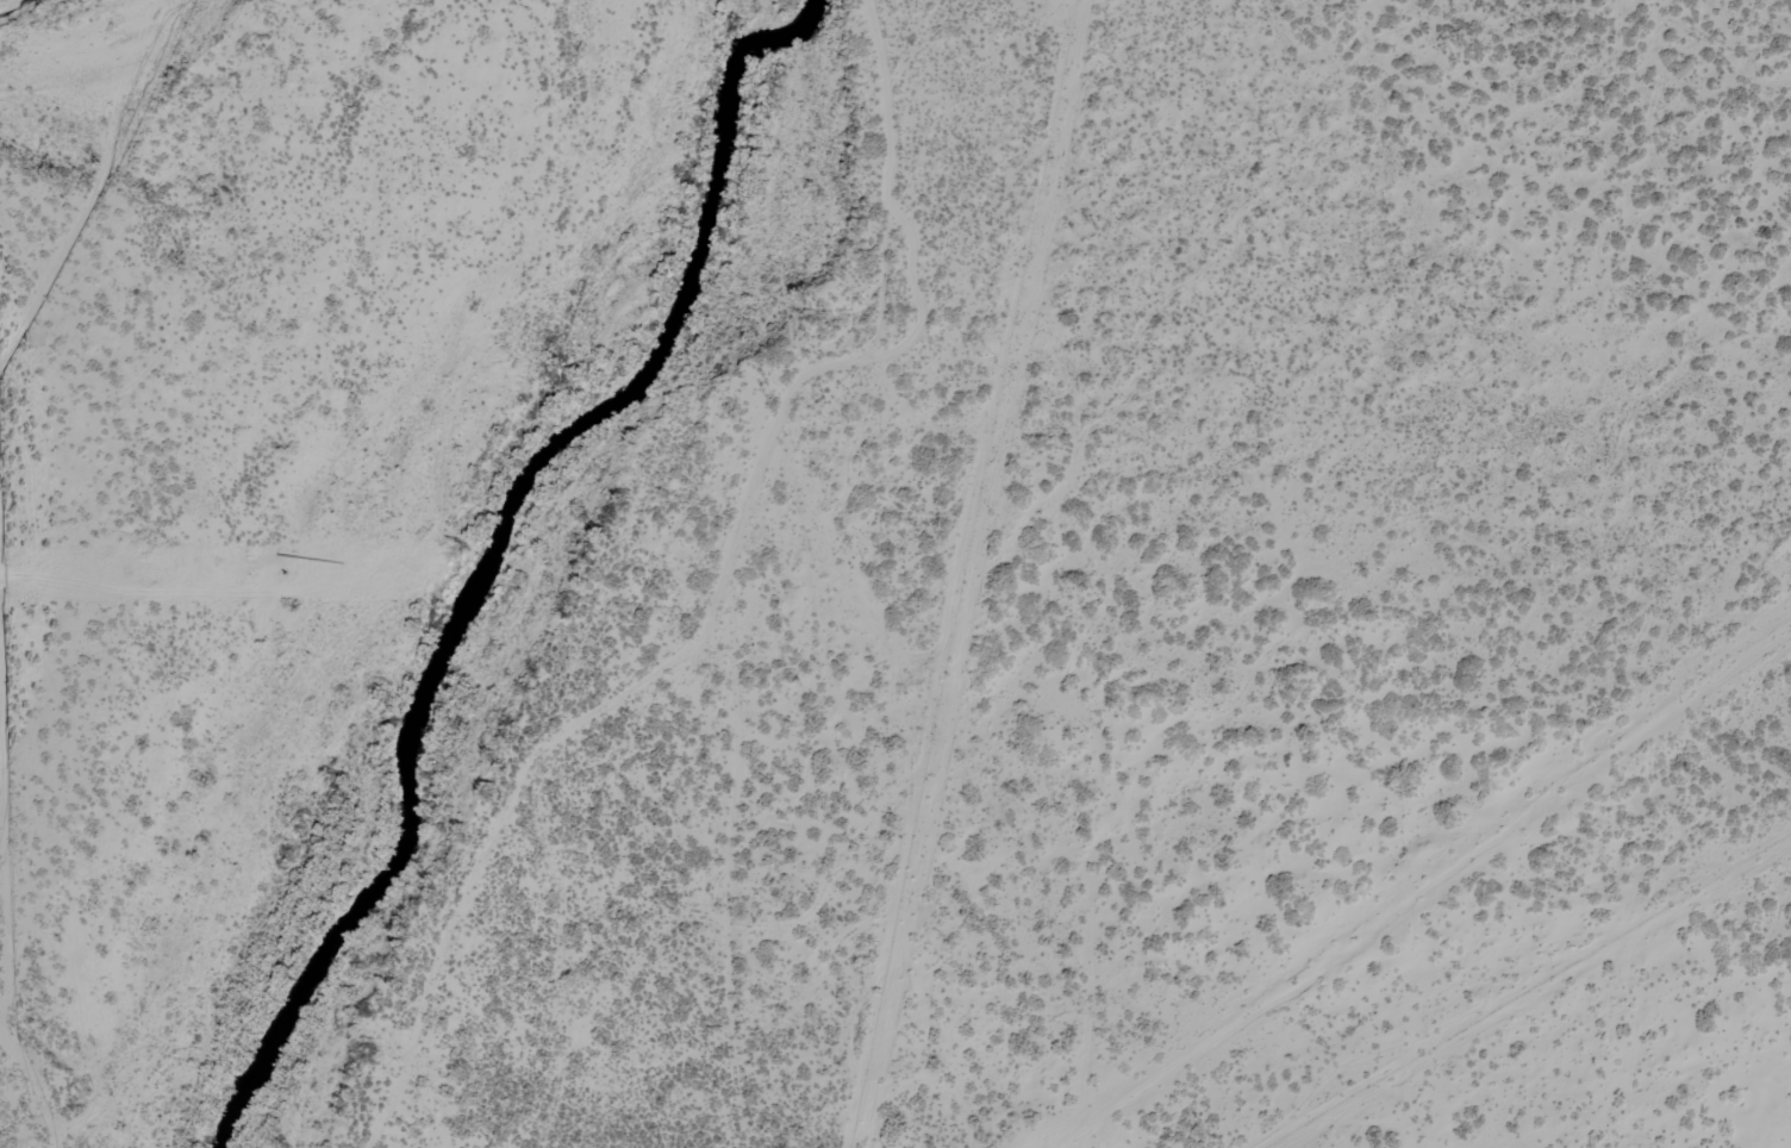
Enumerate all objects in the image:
river: (512, 545)
power tower: (1410, 561)
power tower: (1112, 564)
power tower: (1724, 566)
power tower: (703, 568)
power tower: (287, 575)

